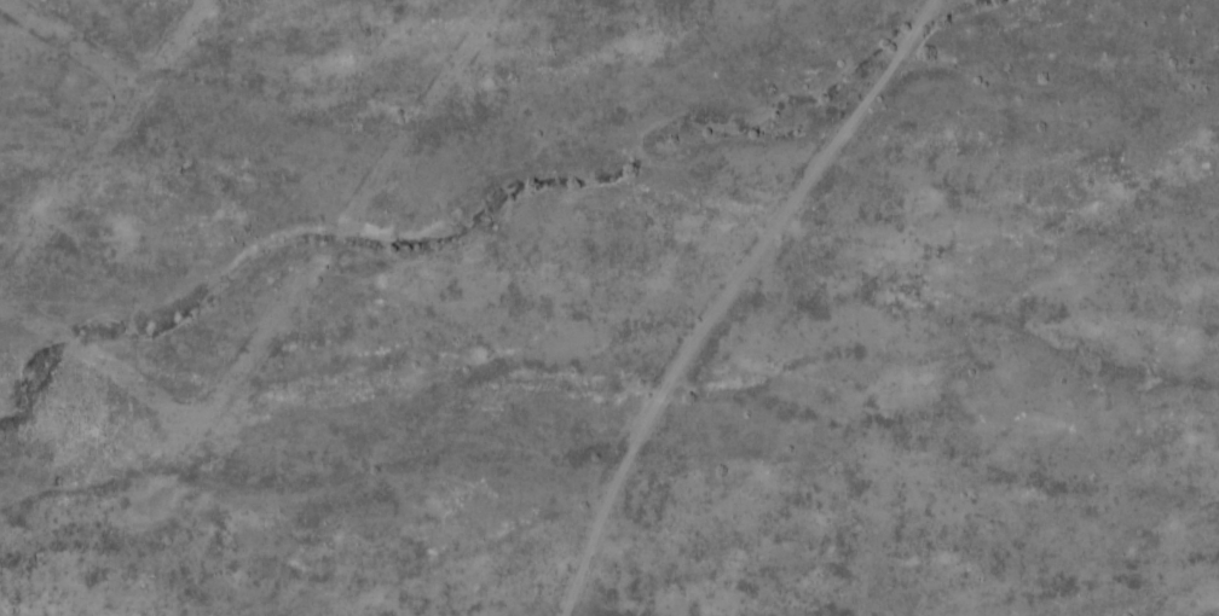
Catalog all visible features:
road: (1211, 606)

